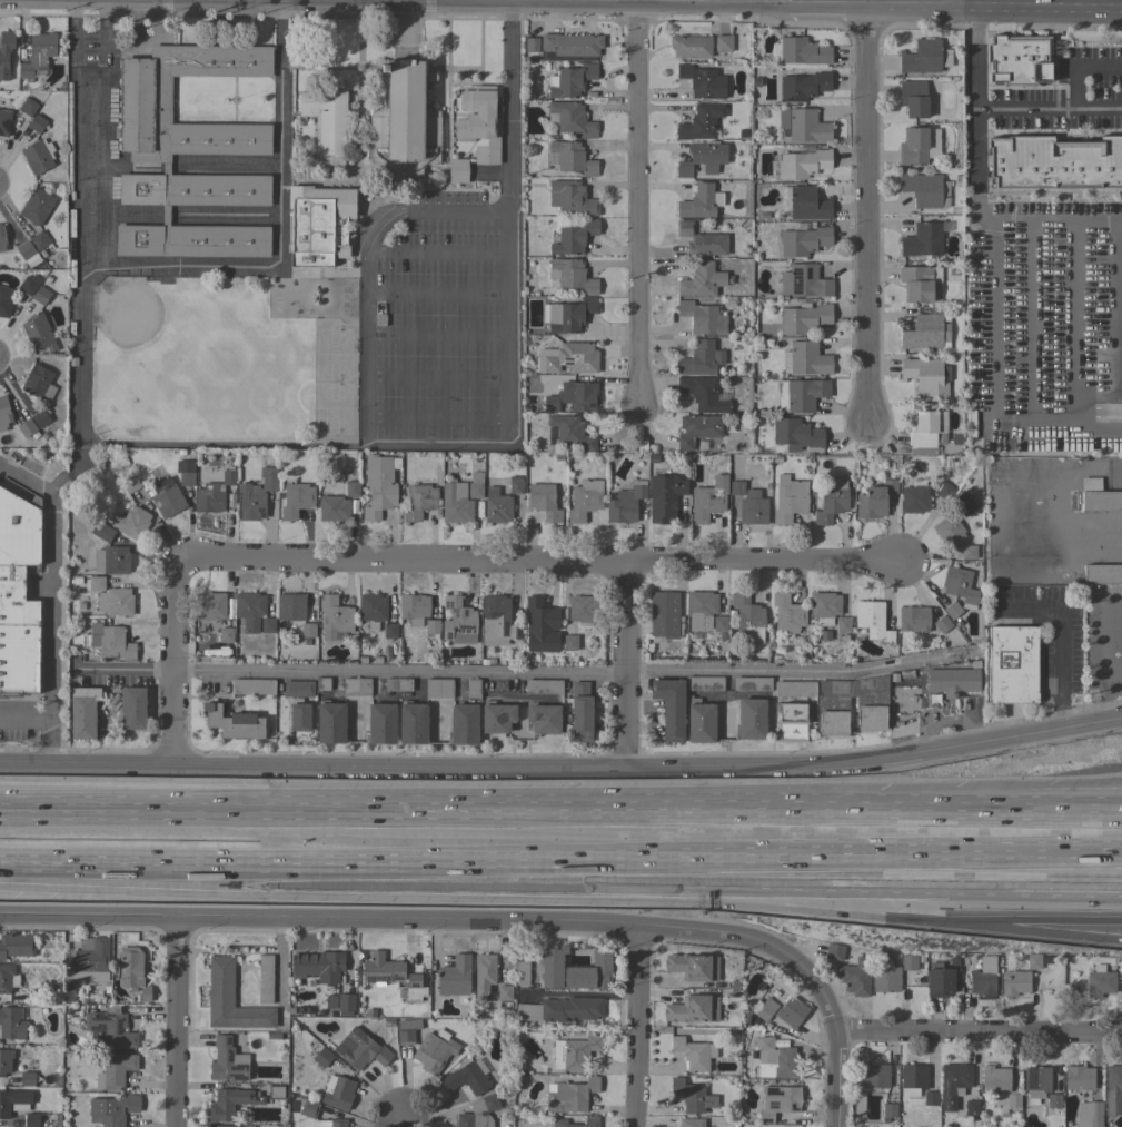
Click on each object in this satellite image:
road: (186, 0)
road: (416, 0)
road: (534, 1)
road: (986, 3)
road: (1083, 4)
road: (1042, 8)
road: (403, 27)
road: (71, 33)
road: (102, 33)
building: (723, 43)
building: (532, 45)
building: (572, 45)
building: (689, 46)
building: (4, 52)
building: (802, 53)
building: (37, 55)
building: (921, 57)
building: (944, 58)
building: (1019, 59)
road: (93, 81)
building: (569, 81)
building: (702, 81)
building: (803, 86)
road: (1071, 87)
building: (913, 99)
building: (28, 107)
road: (973, 107)
building: (572, 119)
building: (404, 121)
building: (4, 122)
building: (36, 123)
building: (479, 123)
building: (698, 123)
building: (326, 125)
building: (804, 125)
building: (913, 146)
road: (975, 147)
building: (188, 154)
building: (38, 156)
building: (570, 158)
building: (702, 158)
building: (1054, 162)
building: (803, 164)
building: (457, 171)
building: (925, 189)
building: (570, 197)
building: (699, 202)
road: (641, 204)
building: (807, 204)
building: (37, 207)
road: (867, 207)
road: (508, 217)
building: (318, 225)
road: (274, 229)
building: (574, 237)
building: (2, 239)
building: (38, 240)
building: (701, 240)
building: (922, 240)
building: (804, 241)
building: (24, 250)
road: (435, 254)
road: (360, 266)
building: (570, 275)
building: (701, 280)
building: (804, 281)
road: (79, 283)
building: (919, 283)
building: (28, 285)
building: (40, 295)
road: (434, 295)
building: (4, 301)
building: (568, 315)
building: (702, 318)
building: (804, 318)
road: (1033, 319)
road: (1073, 319)
road: (992, 320)
road: (1114, 329)
building: (925, 332)
building: (38, 333)
road: (435, 335)
building: (573, 358)
building: (701, 358)
building: (805, 359)
road: (435, 378)
building: (926, 378)
building: (38, 383)
building: (703, 393)
building: (802, 395)
building: (574, 397)
building: (3, 414)
building: (40, 417)
road: (436, 417)
building: (27, 428)
building: (697, 432)
building: (927, 432)
building: (570, 433)
building: (796, 434)
road: (219, 445)
road: (443, 446)
building: (185, 472)
road: (1114, 475)
building: (228, 477)
building: (130, 484)
building: (476, 485)
building: (515, 485)
building: (378, 486)
building: (736, 487)
building: (351, 488)
building: (944, 491)
building: (255, 495)
building: (1099, 496)
building: (166, 497)
building: (664, 497)
building: (708, 497)
building: (914, 497)
building: (208, 498)
building: (296, 500)
building: (584, 500)
building: (788, 500)
building: (874, 500)
building: (418, 501)
building: (832, 501)
building: (455, 502)
building: (544, 502)
building: (964, 502)
building: (496, 505)
building: (624, 505)
building: (332, 508)
building: (752, 510)
building: (131, 523)
building: (949, 531)
building: (101, 532)
road: (1004, 532)
building: (967, 552)
building: (111, 560)
road: (536, 564)
building: (1102, 574)
road: (46, 580)
building: (96, 583)
building: (959, 586)
building: (18, 595)
building: (115, 602)
building: (211, 606)
building: (290, 606)
building: (824, 607)
building: (413, 609)
building: (583, 609)
building: (952, 609)
building: (249, 610)
building: (371, 610)
building: (701, 610)
building: (787, 613)
building: (664, 614)
building: (336, 616)
building: (748, 617)
building: (913, 619)
building: (458, 621)
building: (497, 621)
building: (872, 621)
building: (719, 623)
building: (942, 624)
building: (267, 625)
building: (539, 625)
building: (843, 625)
building: (431, 627)
building: (307, 630)
building: (389, 631)
building: (226, 635)
road: (1105, 637)
road: (1060, 639)
building: (110, 642)
building: (569, 643)
road: (173, 662)
building: (1012, 664)
road: (624, 666)
road: (522, 673)
building: (952, 681)
building: (322, 683)
building: (704, 683)
building: (751, 683)
building: (397, 684)
building: (252, 686)
building: (356, 686)
building: (543, 686)
building: (298, 688)
building: (438, 688)
building: (473, 688)
building: (794, 689)
building: (871, 705)
building: (669, 706)
building: (132, 708)
building: (82, 712)
building: (580, 713)
building: (301, 716)
building: (496, 716)
building: (543, 719)
building: (751, 719)
road: (6, 721)
building: (701, 721)
road: (30, 722)
building: (232, 722)
building: (330, 722)
building: (791, 722)
building: (380, 723)
building: (413, 723)
building: (463, 724)
road: (48, 743)
road: (563, 769)
road: (961, 811)
road: (560, 821)
railway: (560, 846)
road: (172, 863)
road: (734, 870)
road: (676, 888)
road: (1065, 916)
road: (443, 920)
road: (1064, 923)
building: (17, 946)
building: (834, 951)
building: (89, 960)
building: (908, 961)
building: (1033, 961)
building: (317, 963)
building: (522, 966)
building: (552, 967)
building: (692, 967)
building: (380, 969)
building: (132, 972)
building: (590, 972)
building: (484, 975)
building: (455, 977)
building: (855, 977)
building: (885, 977)
building: (8, 978)
building: (265, 978)
building: (983, 978)
building: (939, 980)
building: (1014, 982)
building: (1100, 982)
building: (414, 988)
building: (504, 992)
building: (33, 996)
building: (230, 999)
building: (337, 1004)
building: (765, 1009)
building: (560, 1010)
building: (689, 1010)
building: (791, 1012)
road: (178, 1021)
building: (11, 1024)
road: (637, 1027)
building: (109, 1028)
building: (407, 1031)
road: (980, 1034)
building: (272, 1036)
building: (366, 1052)
building: (434, 1052)
building: (573, 1052)
building: (693, 1054)
building: (322, 1058)
building: (778, 1058)
building: (4, 1060)
building: (227, 1061)
building: (115, 1070)
building: (873, 1076)
building: (27, 1078)
building: (466, 1078)
building: (914, 1078)
building: (1079, 1078)
building: (995, 1079)
road: (837, 1080)
building: (1036, 1082)
building: (953, 1085)
building: (1113, 1090)
building: (276, 1091)
building: (338, 1093)
building: (570, 1096)
building: (692, 1096)
building: (930, 1098)
building: (1013, 1100)
building: (1053, 1100)
building: (13, 1101)
building: (778, 1101)
building: (858, 1103)
building: (229, 1104)
building: (308, 1108)
building: (111, 1109)
building: (972, 1109)
building: (888, 1110)
building: (478, 1113)
building: (1089, 1115)
building: (37, 1120)
road: (399, 1121)
building: (331, 1123)
building: (691, 1123)
building: (558, 1124)
building: (219, 1126)

